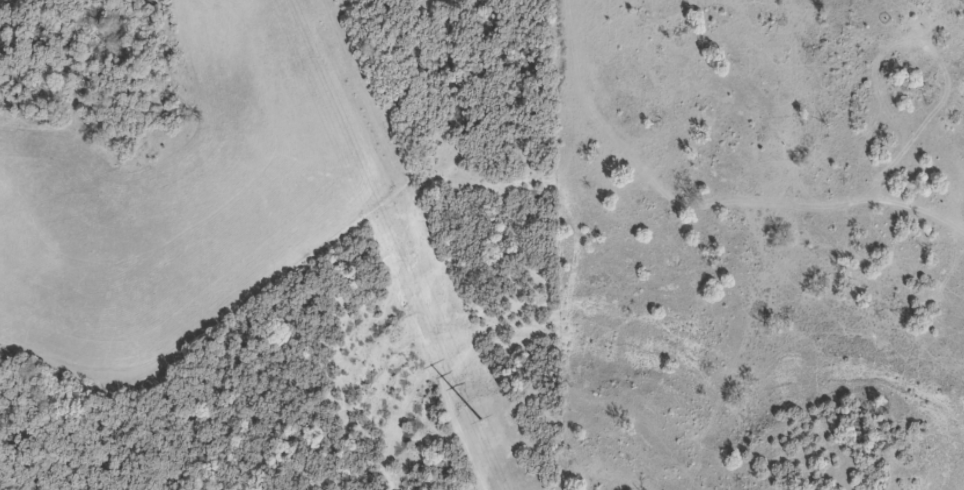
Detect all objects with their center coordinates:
power tower: (480, 420)

